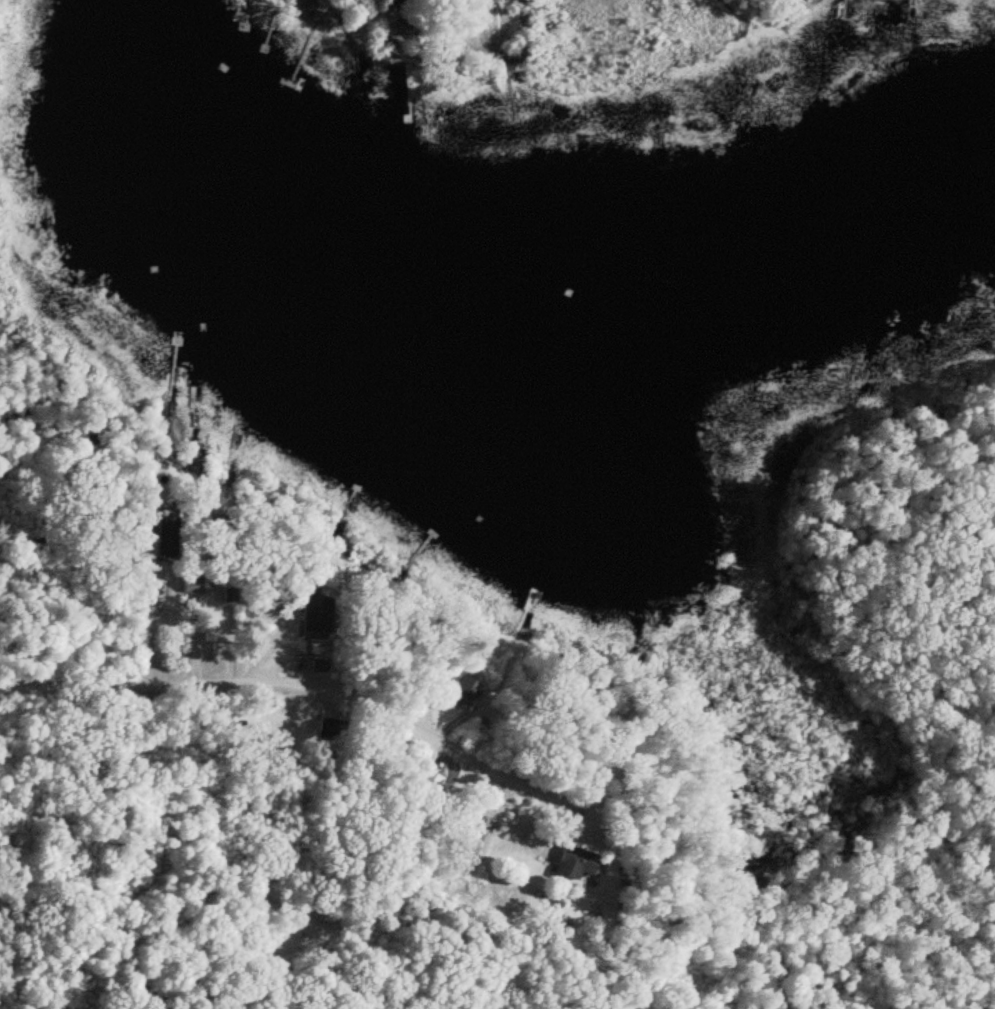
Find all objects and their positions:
building: (188, 584)
building: (226, 595)
building: (318, 665)
road: (327, 666)
building: (575, 864)

